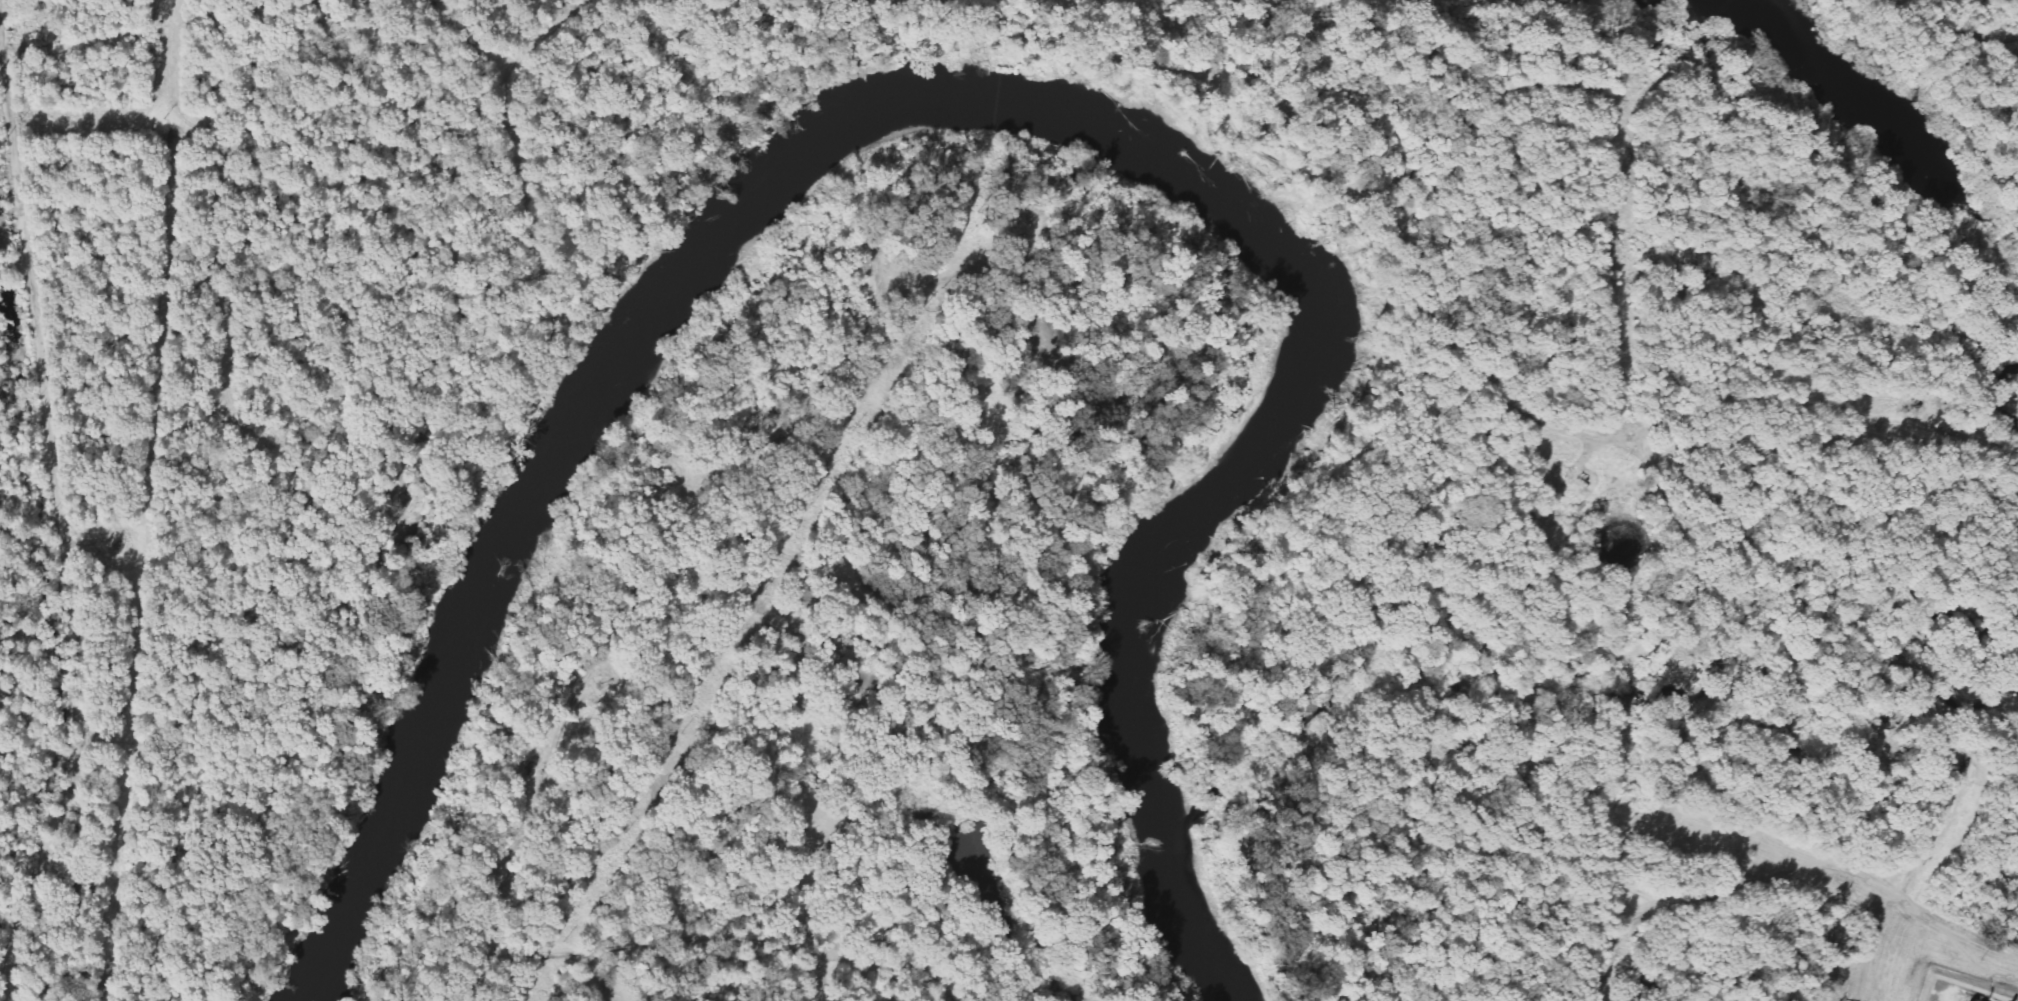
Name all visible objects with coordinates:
river: (983, 99)

